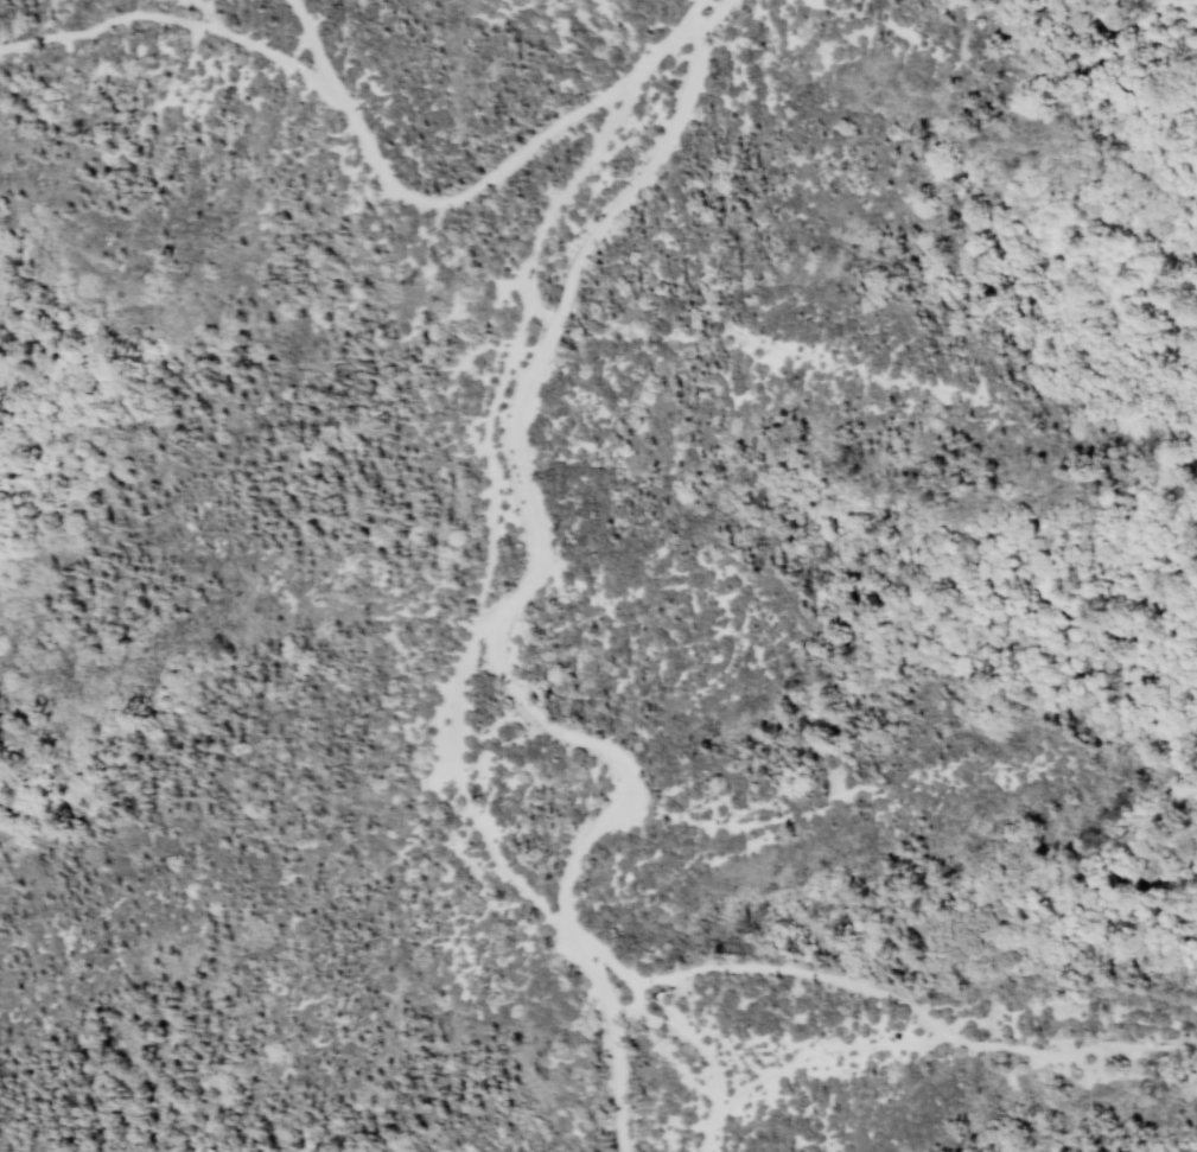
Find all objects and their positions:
road: (176, 17)
road: (686, 20)
road: (554, 193)
road: (457, 198)
road: (488, 476)
road: (527, 588)
road: (446, 775)
road: (788, 817)
road: (877, 992)
road: (685, 1040)
road: (929, 1043)

